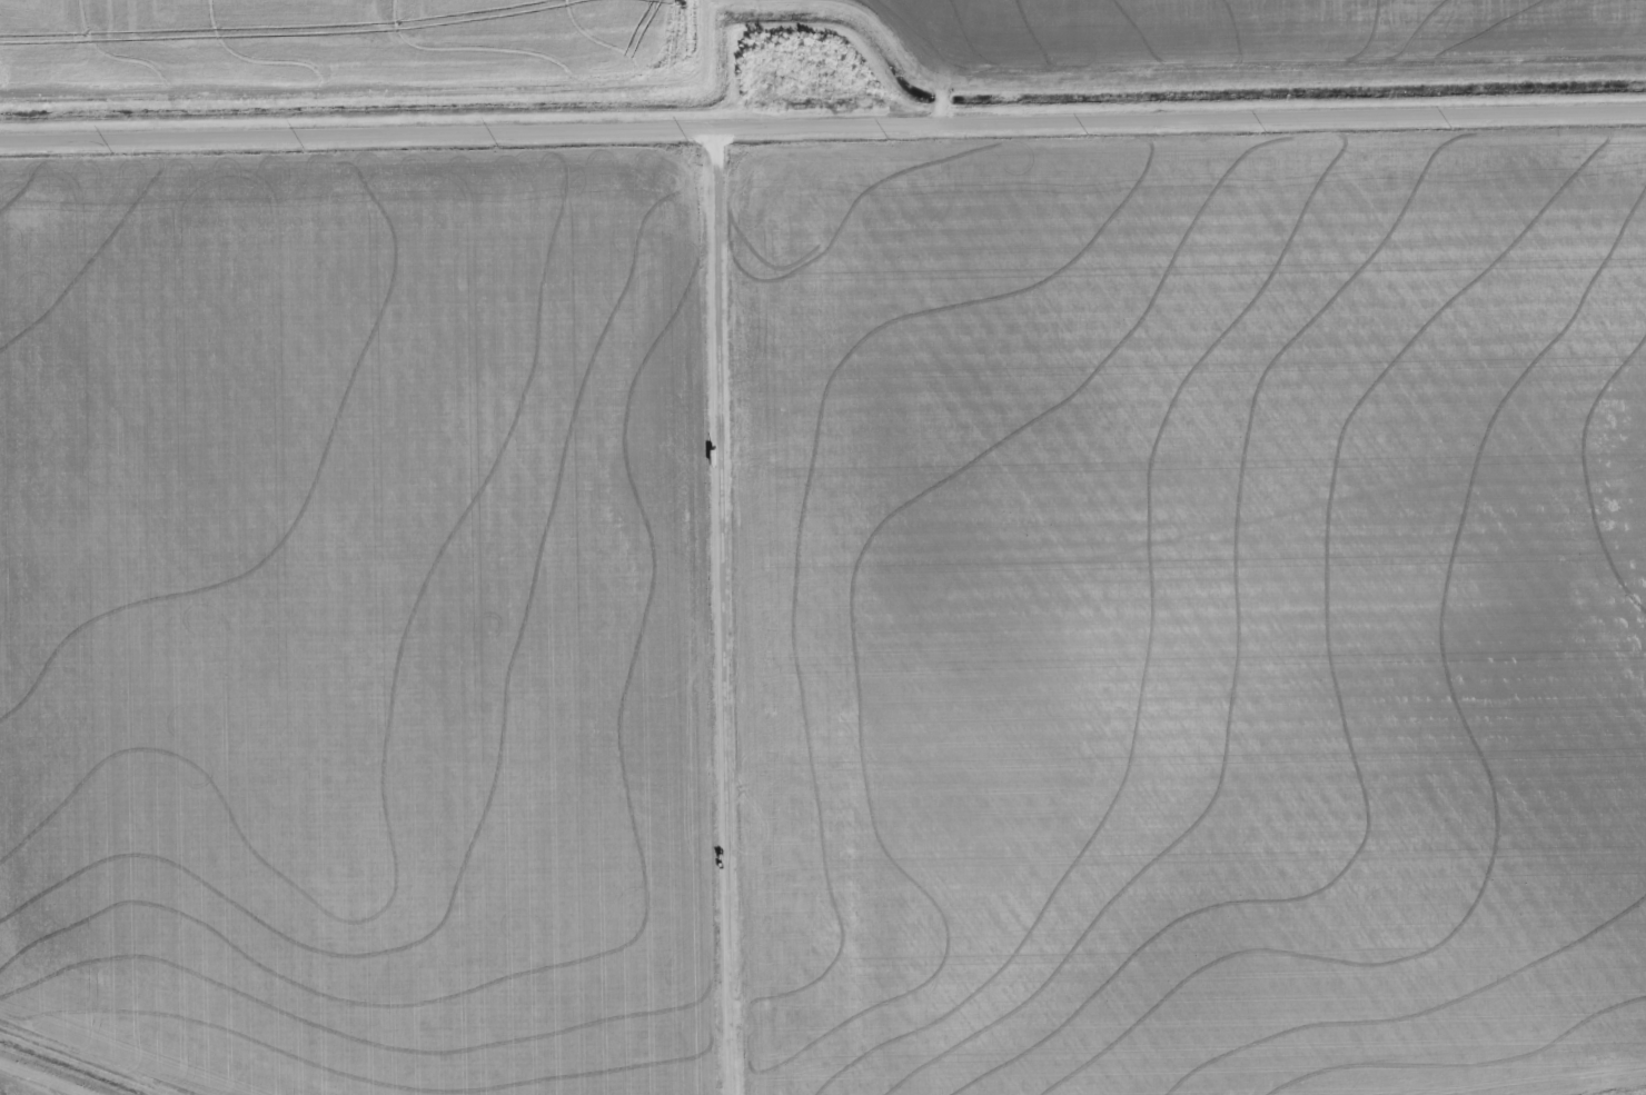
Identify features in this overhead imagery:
road: (822, 129)
road: (725, 613)

